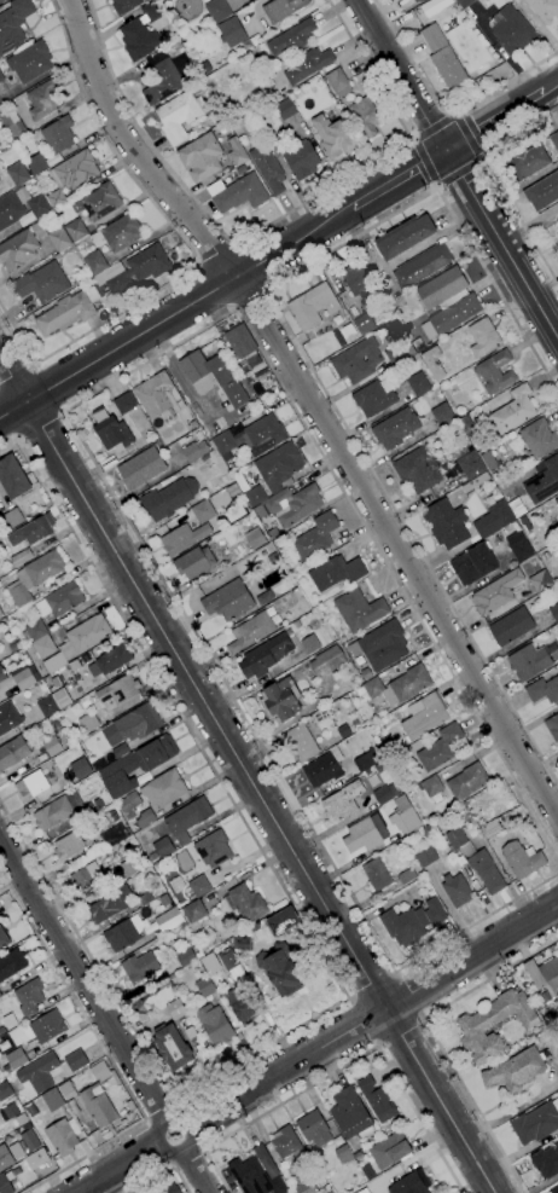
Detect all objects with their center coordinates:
building: (1, 0)
building: (418, 0)
building: (413, 1)
building: (464, 2)
building: (123, 5)
building: (281, 8)
building: (544, 10)
building: (217, 11)
building: (13, 24)
building: (511, 30)
building: (143, 31)
building: (231, 31)
building: (432, 37)
building: (290, 40)
building: (29, 62)
building: (307, 65)
building: (449, 70)
road: (402, 74)
building: (1, 77)
building: (162, 82)
building: (268, 82)
building: (337, 82)
road: (553, 87)
building: (43, 99)
building: (285, 109)
road: (443, 110)
road: (453, 115)
building: (179, 116)
building: (366, 116)
road: (498, 120)
building: (12, 124)
road: (432, 127)
building: (261, 128)
road: (504, 133)
building: (58, 134)
building: (331, 137)
road: (466, 137)
road: (412, 139)
building: (554, 140)
traffic signals: (447, 150)
building: (236, 151)
building: (200, 157)
road: (481, 158)
road: (423, 160)
building: (301, 161)
building: (527, 162)
building: (16, 168)
building: (267, 168)
building: (240, 169)
road: (458, 170)
building: (71, 174)
road: (399, 179)
road: (496, 184)
road: (436, 187)
building: (542, 192)
building: (237, 193)
building: (100, 202)
building: (22, 208)
road: (269, 222)
building: (37, 230)
building: (75, 230)
building: (557, 230)
building: (117, 233)
building: (57, 236)
building: (405, 237)
road: (185, 242)
road: (502, 242)
building: (17, 250)
building: (94, 262)
building: (422, 266)
building: (140, 270)
building: (100, 278)
building: (42, 283)
building: (359, 284)
building: (448, 299)
road: (250, 301)
building: (312, 306)
building: (68, 311)
road: (175, 313)
building: (364, 323)
building: (347, 331)
building: (483, 337)
building: (338, 338)
road: (298, 352)
building: (399, 352)
building: (244, 355)
building: (429, 358)
building: (356, 360)
building: (494, 372)
road: (17, 373)
building: (213, 377)
building: (418, 384)
road: (48, 389)
building: (157, 395)
building: (374, 396)
road: (314, 406)
building: (513, 410)
road: (64, 413)
building: (442, 415)
building: (193, 424)
building: (117, 425)
building: (467, 425)
road: (7, 427)
road: (40, 427)
building: (395, 428)
building: (263, 435)
building: (539, 438)
building: (475, 441)
building: (223, 442)
building: (194, 448)
building: (488, 461)
building: (470, 465)
building: (278, 467)
building: (140, 468)
building: (415, 471)
building: (12, 477)
building: (240, 481)
building: (542, 481)
building: (232, 490)
building: (255, 496)
building: (168, 498)
building: (556, 502)
building: (290, 504)
building: (203, 511)
building: (12, 517)
building: (493, 519)
building: (446, 523)
building: (31, 531)
building: (273, 532)
building: (315, 537)
building: (182, 538)
building: (254, 538)
building: (518, 546)
building: (21, 557)
building: (272, 558)
building: (193, 562)
building: (473, 564)
building: (335, 572)
building: (34, 575)
building: (540, 581)
building: (495, 592)
building: (59, 601)
building: (227, 601)
building: (358, 610)
building: (554, 612)
building: (511, 626)
building: (34, 630)
building: (250, 631)
building: (85, 636)
building: (309, 644)
building: (380, 645)
building: (13, 647)
building: (42, 647)
building: (265, 655)
building: (85, 658)
building: (111, 660)
building: (326, 661)
building: (528, 661)
building: (52, 662)
building: (74, 665)
building: (365, 674)
building: (19, 676)
building: (56, 682)
building: (397, 685)
building: (118, 690)
building: (542, 690)
building: (280, 700)
building: (53, 702)
building: (424, 716)
building: (8, 718)
building: (87, 722)
building: (135, 724)
building: (552, 726)
building: (343, 731)
building: (300, 742)
building: (51, 746)
building: (557, 747)
building: (440, 748)
building: (388, 751)
building: (118, 752)
building: (12, 753)
building: (367, 760)
building: (135, 765)
building: (80, 768)
building: (324, 768)
road: (248, 774)
building: (467, 782)
building: (30, 786)
building: (431, 786)
building: (163, 788)
building: (385, 793)
building: (342, 801)
building: (128, 804)
building: (86, 811)
building: (52, 813)
building: (403, 816)
building: (144, 818)
building: (187, 818)
building: (490, 829)
building: (428, 830)
building: (365, 834)
building: (115, 835)
building: (68, 846)
building: (161, 849)
building: (213, 850)
building: (425, 856)
building: (522, 859)
building: (476, 861)
building: (129, 867)
building: (376, 875)
building: (86, 876)
building: (406, 876)
building: (198, 886)
building: (457, 890)
building: (144, 899)
building: (244, 904)
building: (104, 909)
building: (193, 911)
building: (168, 920)
building: (280, 921)
building: (411, 922)
building: (121, 936)
building: (4, 939)
building: (243, 943)
road: (316, 949)
building: (185, 957)
building: (11, 963)
building: (210, 965)
building: (231, 965)
building: (139, 967)
building: (279, 969)
building: (544, 973)
road: (82, 977)
building: (205, 986)
road: (371, 986)
road: (408, 996)
building: (29, 997)
building: (557, 1001)
building: (240, 1004)
building: (175, 1008)
road: (374, 1015)
road: (362, 1024)
building: (214, 1025)
building: (47, 1026)
building: (472, 1027)
building: (1, 1030)
road: (399, 1032)
road: (434, 1037)
building: (172, 1047)
building: (16, 1059)
road: (106, 1059)
building: (76, 1061)
road: (341, 1067)
building: (515, 1071)
building: (37, 1073)
building: (103, 1073)
building: (5, 1090)
building: (65, 1090)
building: (52, 1100)
building: (380, 1104)
building: (98, 1105)
building: (128, 1105)
building: (72, 1106)
building: (11, 1110)
road: (159, 1114)
building: (350, 1114)
building: (536, 1123)
building: (313, 1128)
building: (62, 1137)
building: (30, 1140)
building: (286, 1143)
building: (354, 1146)
road: (167, 1149)
building: (388, 1149)
building: (344, 1156)
building: (5, 1158)
building: (37, 1159)
road: (188, 1159)
building: (266, 1160)
building: (546, 1162)
road: (118, 1168)
road: (196, 1171)
road: (165, 1174)
building: (367, 1174)
building: (254, 1177)
building: (411, 1183)
building: (5, 1185)
building: (304, 1187)
building: (170, 1188)
building: (553, 1189)
building: (364, 1191)

